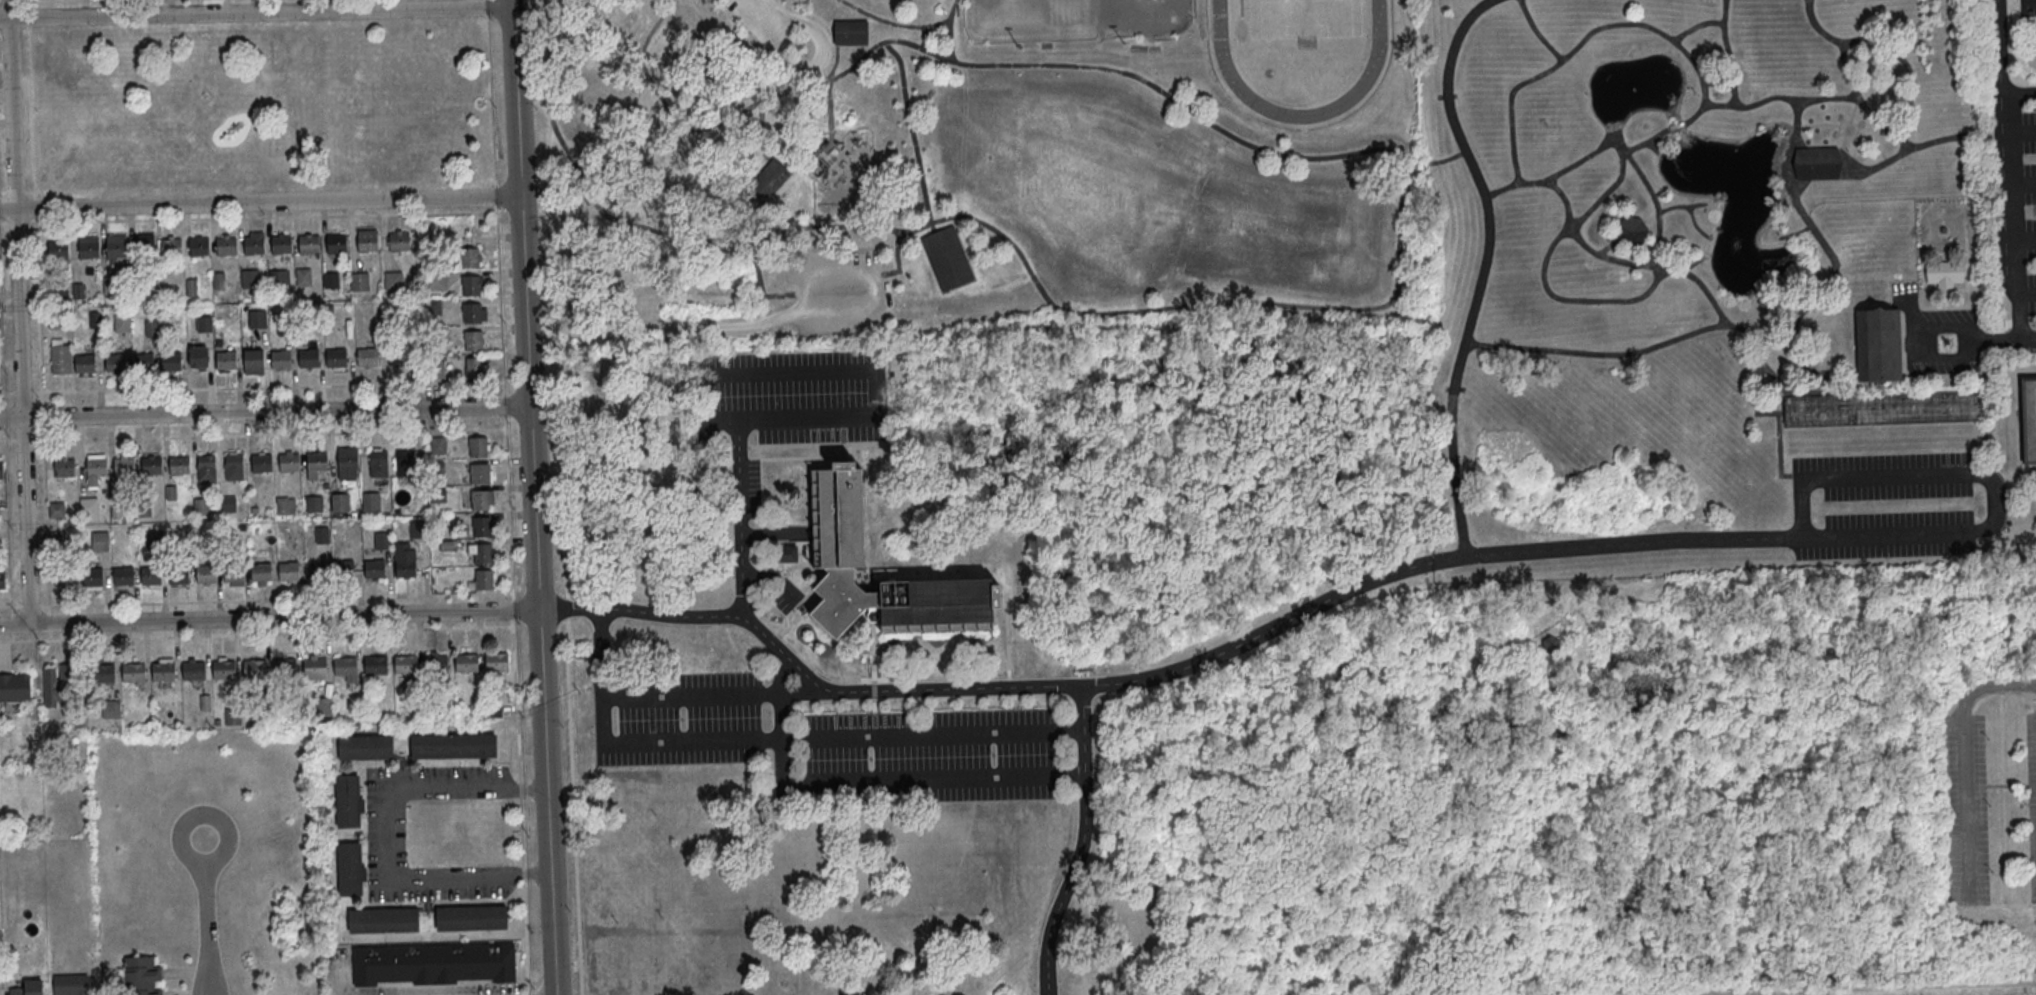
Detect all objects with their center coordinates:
road: (52, 1)
road: (487, 8)
road: (758, 8)
parking lot: (750, 11)
road: (28, 12)
road: (256, 13)
park: (1073, 18)
park: (1303, 18)
park: (1081, 22)
road: (904, 23)
road: (1631, 23)
road: (1697, 24)
road: (13, 31)
road: (1537, 32)
building: (851, 34)
road: (922, 36)
road: (949, 39)
road: (1882, 47)
track: (1299, 50)
road: (1727, 52)
track: (1373, 63)
road: (817, 68)
road: (1717, 83)
road: (755, 84)
road: (2018, 85)
road: (828, 88)
road: (1779, 95)
road: (491, 100)
road: (1862, 104)
park: (261, 106)
road: (1853, 109)
road: (30, 111)
road: (1814, 123)
road: (1675, 125)
road: (909, 128)
road: (2019, 129)
road: (1612, 136)
road: (1852, 136)
road: (1513, 139)
road: (1645, 139)
road: (1872, 143)
road: (1653, 144)
road: (1918, 145)
road: (1598, 147)
road: (1841, 149)
road: (1434, 162)
building: (1817, 163)
park: (860, 178)
road: (2003, 179)
road: (2020, 179)
park: (1071, 181)
building: (766, 183)
road: (2, 193)
road: (16, 193)
road: (30, 193)
road: (495, 195)
parking lot: (2030, 200)
road: (259, 203)
road: (1654, 203)
road: (1678, 206)
road: (247, 217)
building: (1631, 231)
road: (1701, 232)
park: (1265, 234)
road: (1791, 235)
road: (2020, 237)
building: (368, 241)
building: (399, 242)
building: (309, 244)
building: (336, 244)
building: (281, 245)
building: (198, 246)
building: (226, 246)
building: (254, 246)
building: (171, 247)
road: (1608, 247)
building: (115, 248)
building: (143, 248)
building: (89, 249)
building: (57, 250)
road: (1828, 250)
road: (1610, 257)
building: (470, 258)
building: (947, 258)
road: (898, 260)
road: (1695, 264)
road: (1483, 268)
building: (1946, 273)
building: (279, 276)
building: (303, 277)
building: (249, 279)
building: (219, 281)
building: (331, 281)
building: (358, 281)
building: (392, 281)
building: (435, 281)
road: (758, 283)
building: (110, 285)
building: (472, 285)
building: (192, 288)
parking lot: (841, 291)
road: (2027, 294)
road: (1591, 298)
road: (499, 300)
road: (1389, 301)
road: (524, 304)
road: (19, 311)
building: (472, 313)
road: (776, 317)
building: (255, 319)
building: (95, 320)
building: (204, 322)
building: (284, 322)
building: (121, 323)
building: (150, 328)
road: (1697, 330)
road: (1774, 340)
building: (473, 341)
building: (1877, 344)
building: (1828, 349)
building: (60, 355)
building: (199, 356)
building: (367, 356)
building: (398, 356)
building: (336, 357)
road: (552, 357)
building: (308, 358)
building: (281, 359)
building: (225, 360)
building: (171, 361)
building: (254, 361)
building: (115, 362)
building: (143, 362)
building: (84, 363)
building: (474, 368)
building: (436, 369)
road: (251, 387)
parking lot: (792, 396)
road: (41, 401)
road: (504, 404)
building: (1884, 408)
road: (265, 412)
building: (2030, 419)
road: (738, 431)
road: (252, 435)
road: (6, 444)
building: (438, 444)
building: (478, 447)
building: (346, 460)
building: (289, 462)
building: (317, 462)
building: (261, 463)
building: (404, 463)
building: (379, 464)
building: (179, 465)
building: (151, 466)
building: (123, 467)
building: (233, 467)
building: (64, 468)
building: (206, 468)
building: (1, 470)
building: (95, 470)
building: (481, 474)
parking lot: (1889, 474)
building: (171, 493)
building: (480, 501)
building: (339, 502)
building: (371, 502)
building: (228, 504)
building: (314, 504)
building: (285, 505)
road: (508, 506)
building: (201, 507)
building: (88, 508)
building: (144, 508)
building: (56, 510)
building: (116, 510)
building: (837, 518)
building: (482, 527)
building: (321, 535)
parking lot: (1890, 535)
road: (1681, 537)
building: (56, 539)
building: (154, 540)
building: (100, 541)
building: (382, 541)
building: (483, 553)
building: (786, 554)
building: (405, 561)
building: (343, 569)
building: (374, 569)
building: (316, 570)
building: (288, 571)
building: (261, 572)
building: (233, 573)
building: (205, 574)
building: (150, 575)
building: (178, 575)
building: (123, 576)
building: (92, 577)
building: (2, 579)
building: (64, 580)
building: (484, 580)
road: (256, 600)
road: (566, 607)
road: (512, 612)
road: (270, 617)
road: (49, 623)
road: (12, 624)
road: (1588, 629)
road: (255, 634)
road: (1543, 634)
building: (1549, 644)
road: (1491, 650)
road: (601, 654)
building: (496, 662)
building: (466, 663)
building: (436, 664)
building: (406, 665)
building: (345, 666)
building: (375, 666)
building: (314, 667)
building: (284, 668)
building: (254, 669)
building: (224, 670)
building: (193, 671)
building: (163, 672)
road: (804, 672)
building: (102, 673)
building: (133, 673)
building: (59, 685)
building: (14, 688)
building: (111, 708)
building: (232, 715)
parking lot: (679, 720)
road: (605, 745)
building: (454, 746)
building: (366, 748)
parking lot: (925, 758)
road: (1964, 760)
road: (780, 761)
parking lot: (2032, 788)
building: (347, 801)
road: (547, 802)
road: (570, 806)
road: (519, 809)
parking lot: (1967, 809)
road: (387, 835)
road: (1082, 843)
building: (350, 869)
road: (207, 915)
building: (472, 919)
building: (384, 921)
building: (434, 963)
building: (142, 976)
building: (71, 985)
building: (29, 987)
road: (1796, 987)
road: (528, 993)

